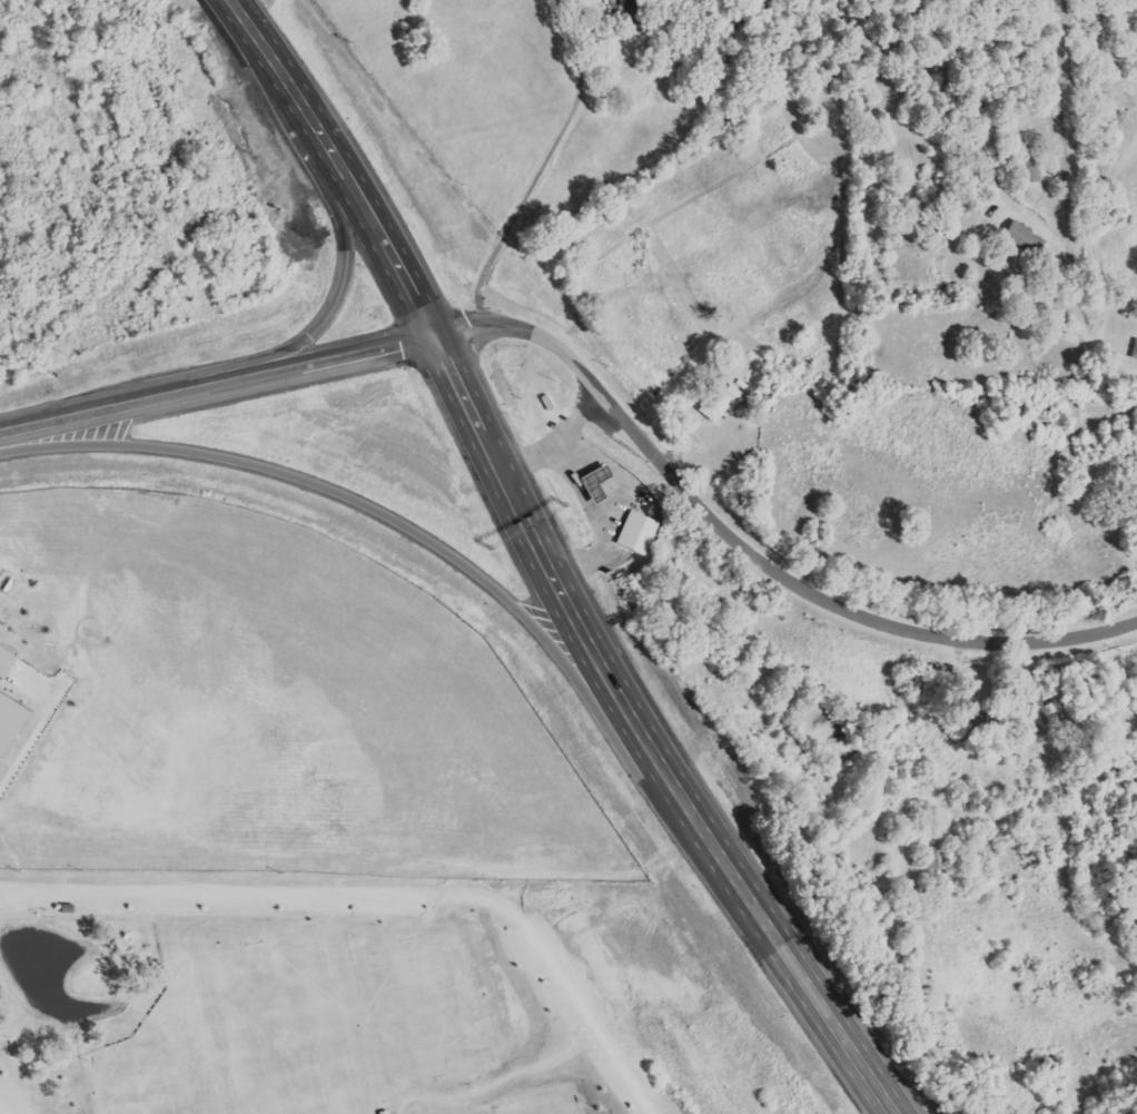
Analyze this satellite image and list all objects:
road: (235, 10)
building: (636, 12)
building: (1028, 165)
road: (346, 175)
road: (1052, 203)
road: (340, 215)
road: (1128, 229)
building: (1021, 237)
road: (656, 274)
building: (1133, 349)
road: (370, 354)
road: (224, 386)
building: (716, 401)
road: (69, 421)
building: (595, 472)
building: (635, 533)
road: (748, 553)
road: (478, 568)
road: (599, 661)
building: (3, 662)
building: (1027, 718)
building: (10, 719)
building: (931, 859)
road: (380, 895)
road: (837, 1042)
road: (6, 1105)

